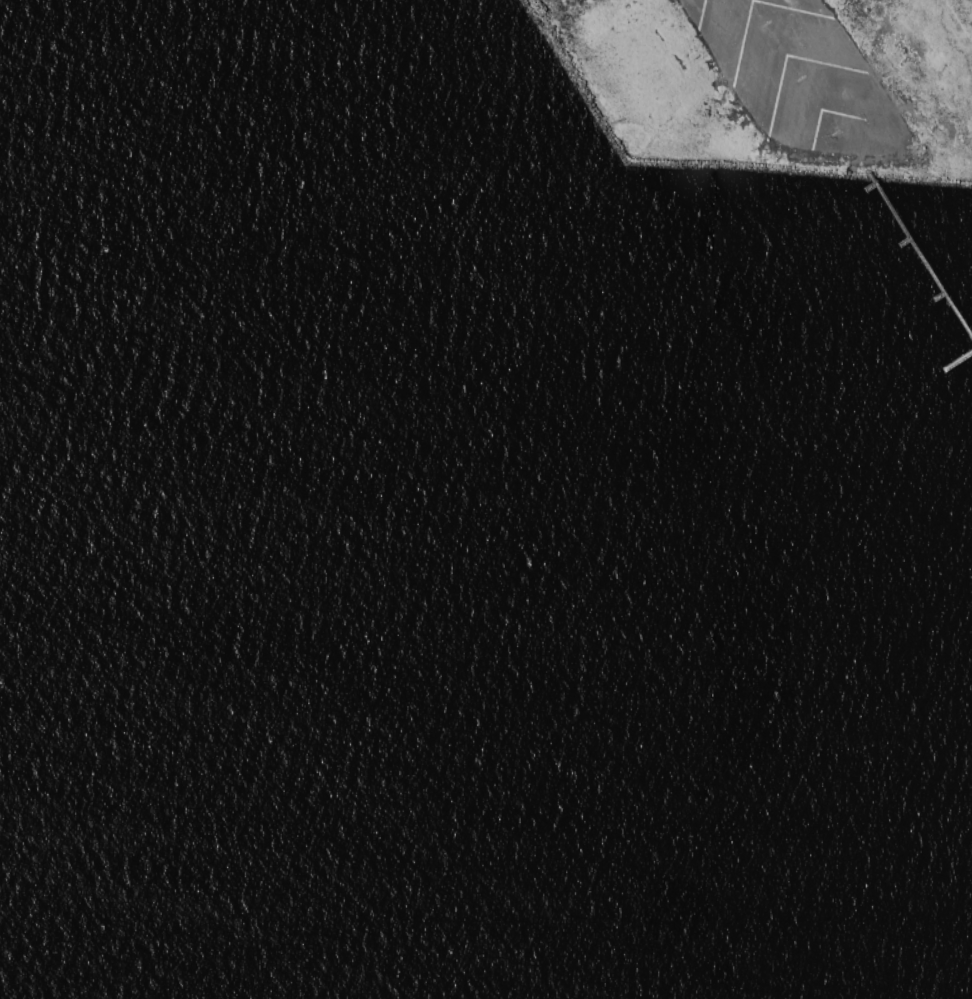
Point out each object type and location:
pier: (923, 259)
pier: (959, 363)

